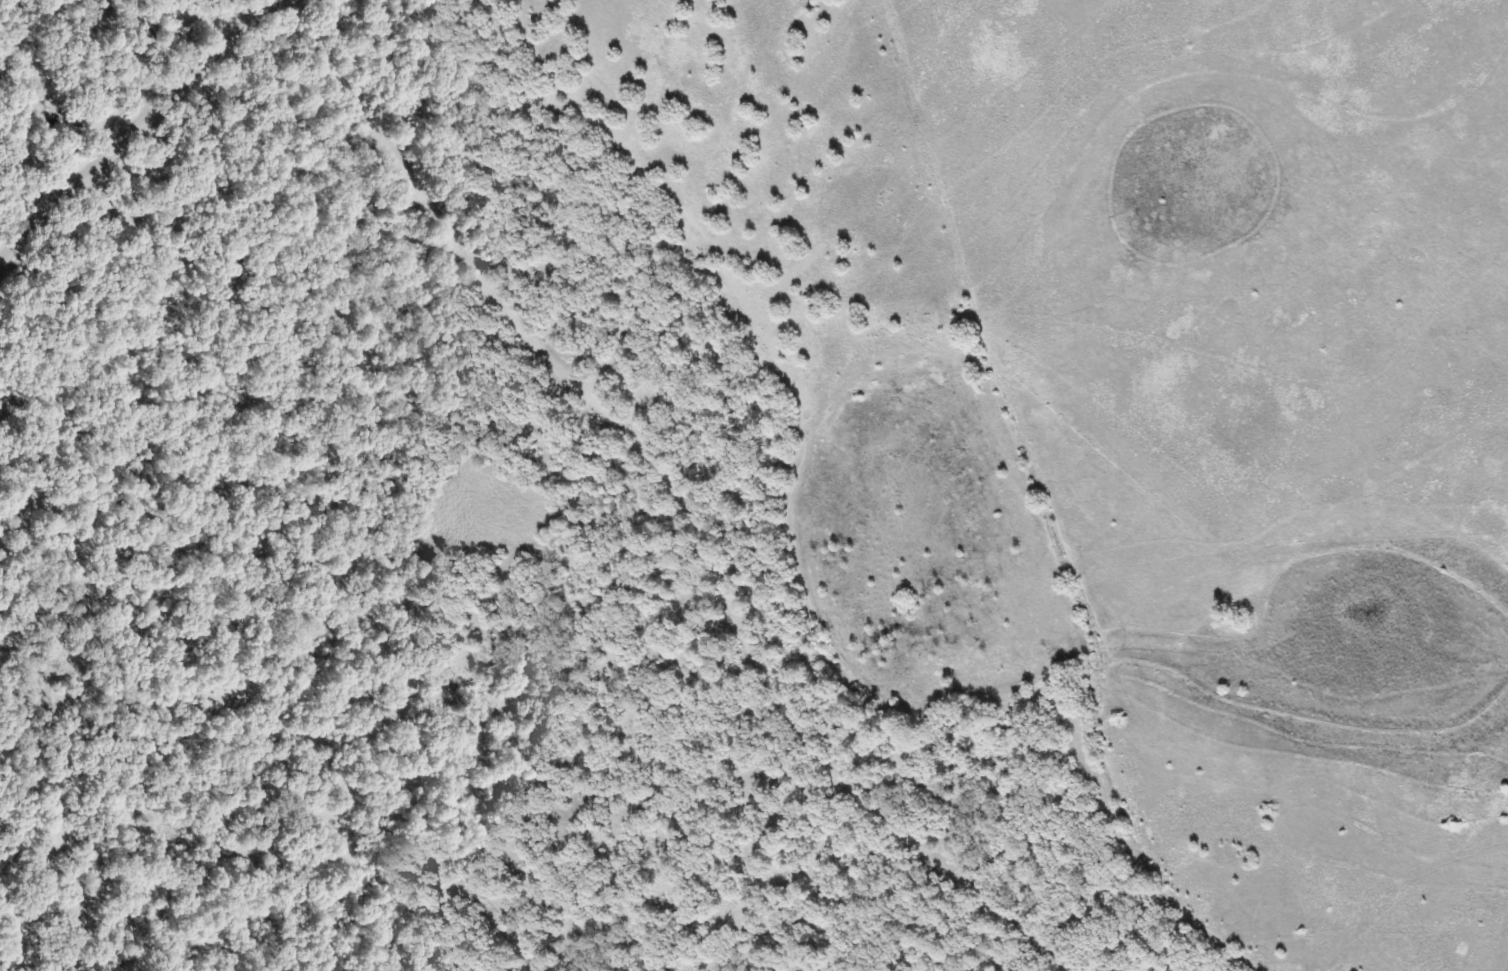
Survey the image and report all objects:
road: (134, 133)
road: (695, 490)

